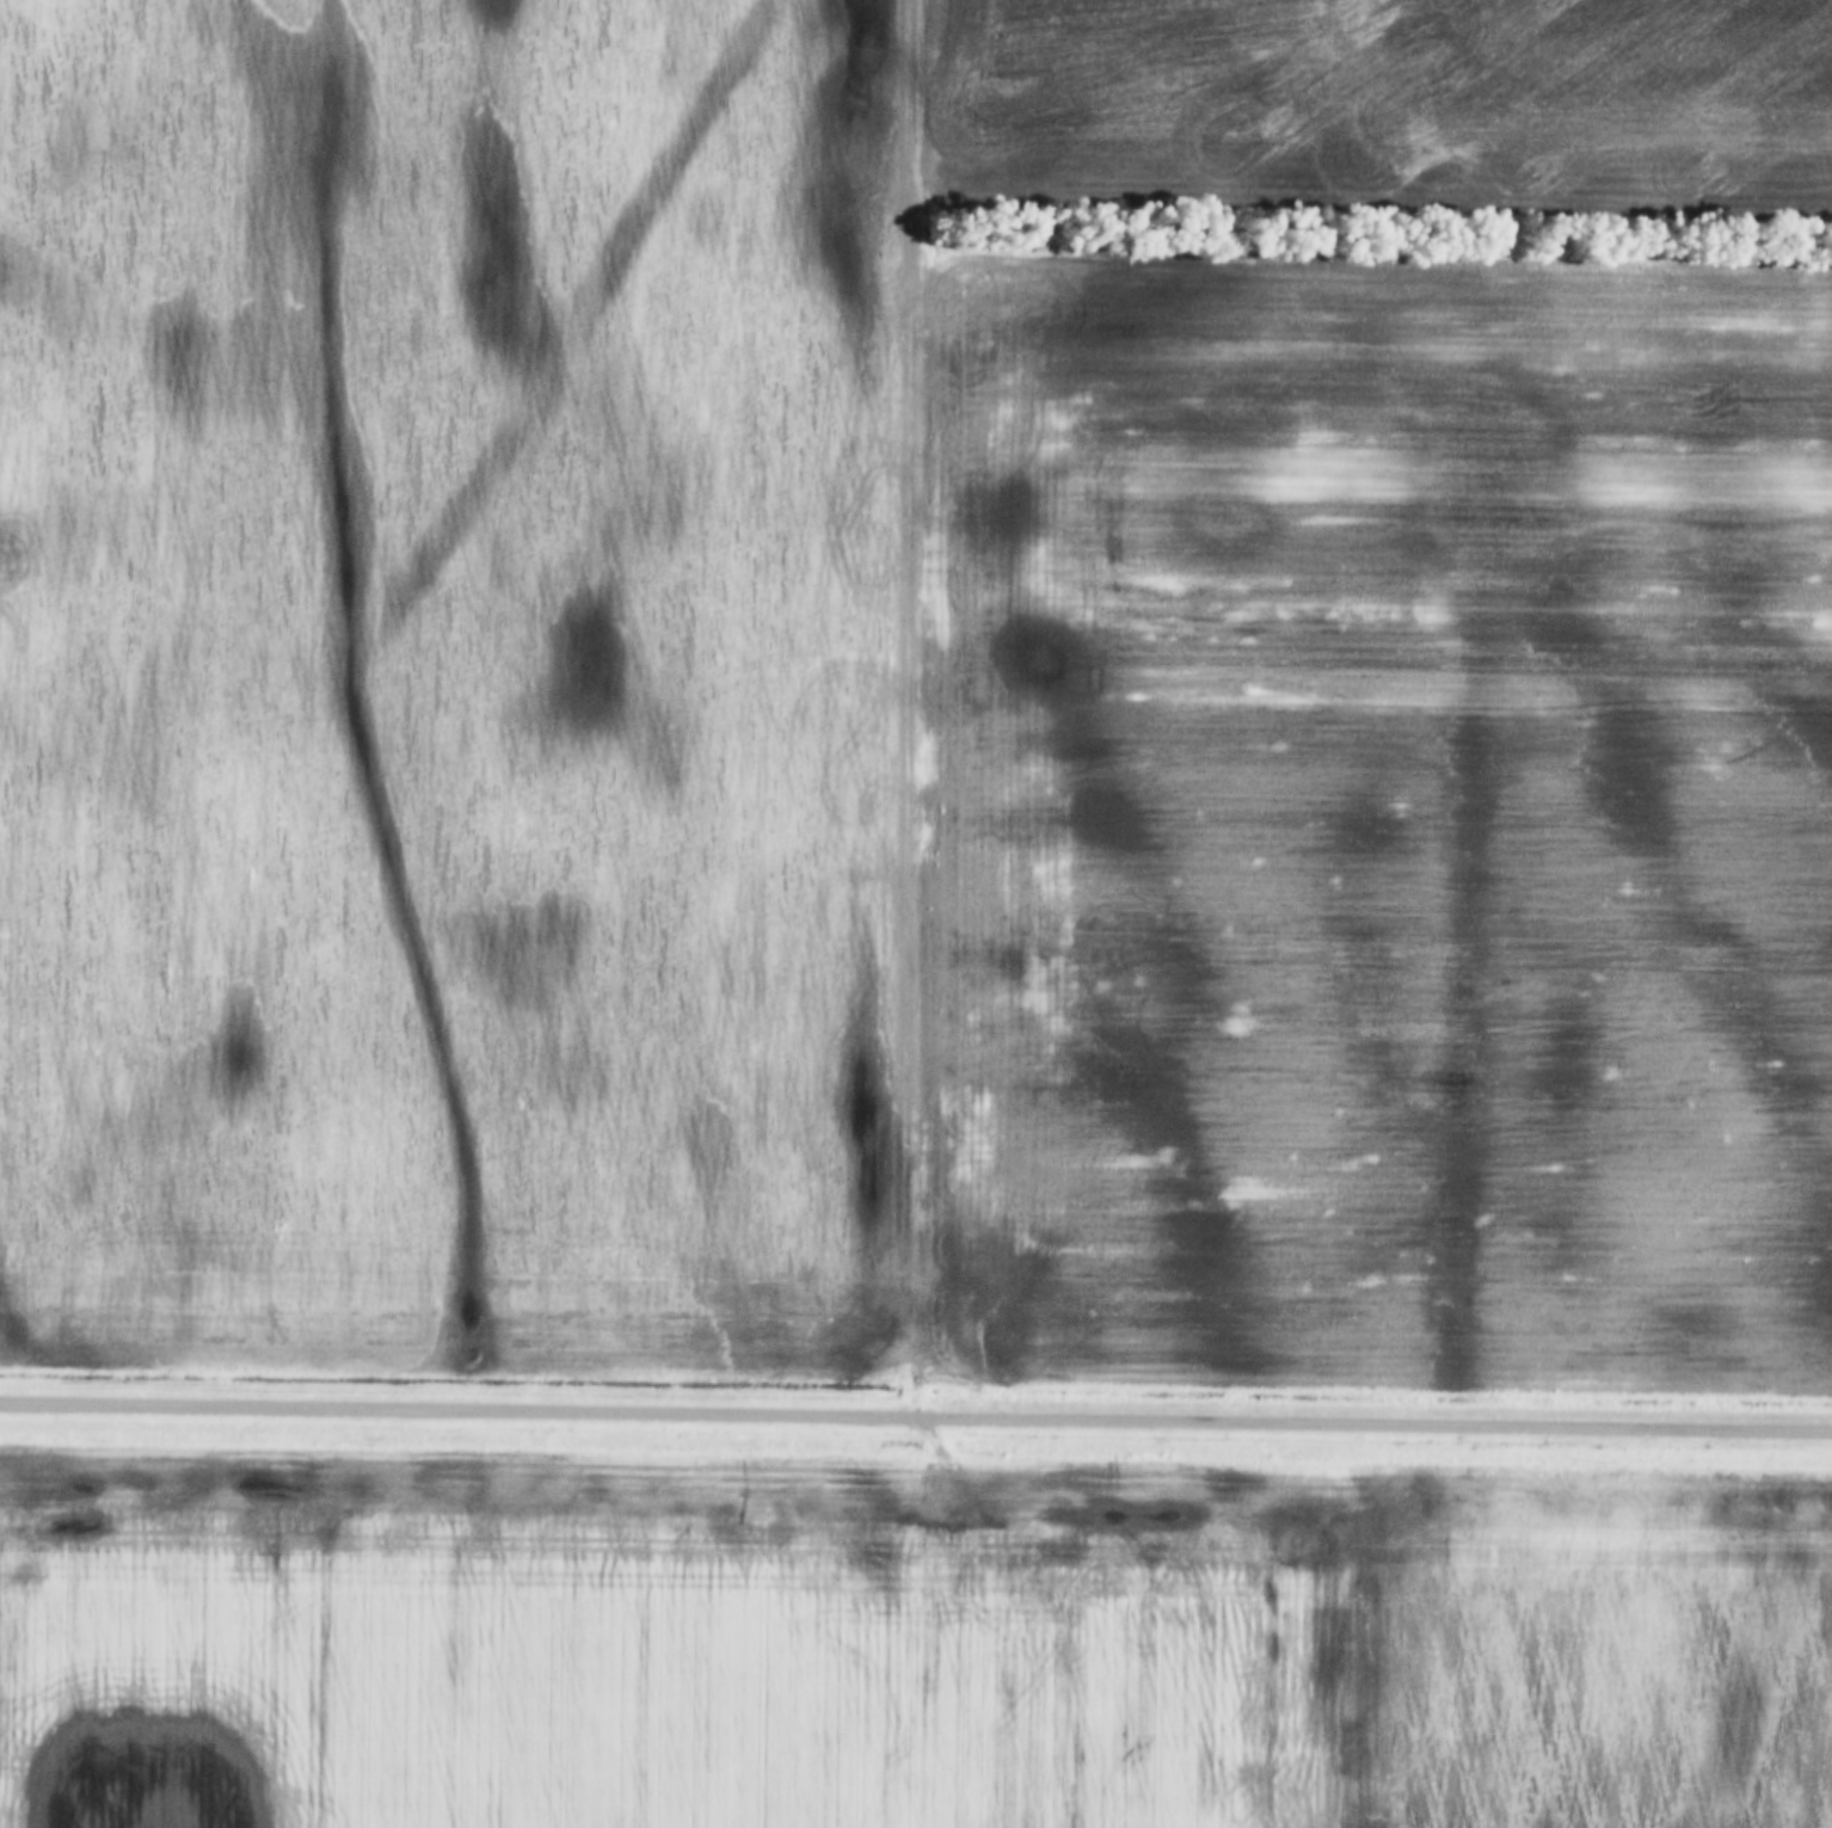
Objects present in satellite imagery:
road: (916, 1420)

